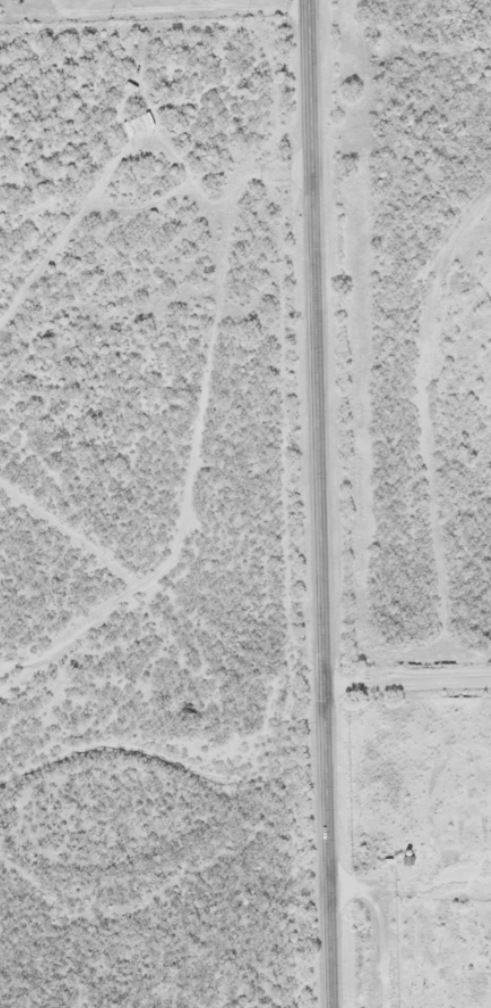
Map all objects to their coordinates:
building: (136, 125)
road: (210, 403)
road: (419, 456)
road: (318, 504)
road: (466, 653)
road: (406, 682)

